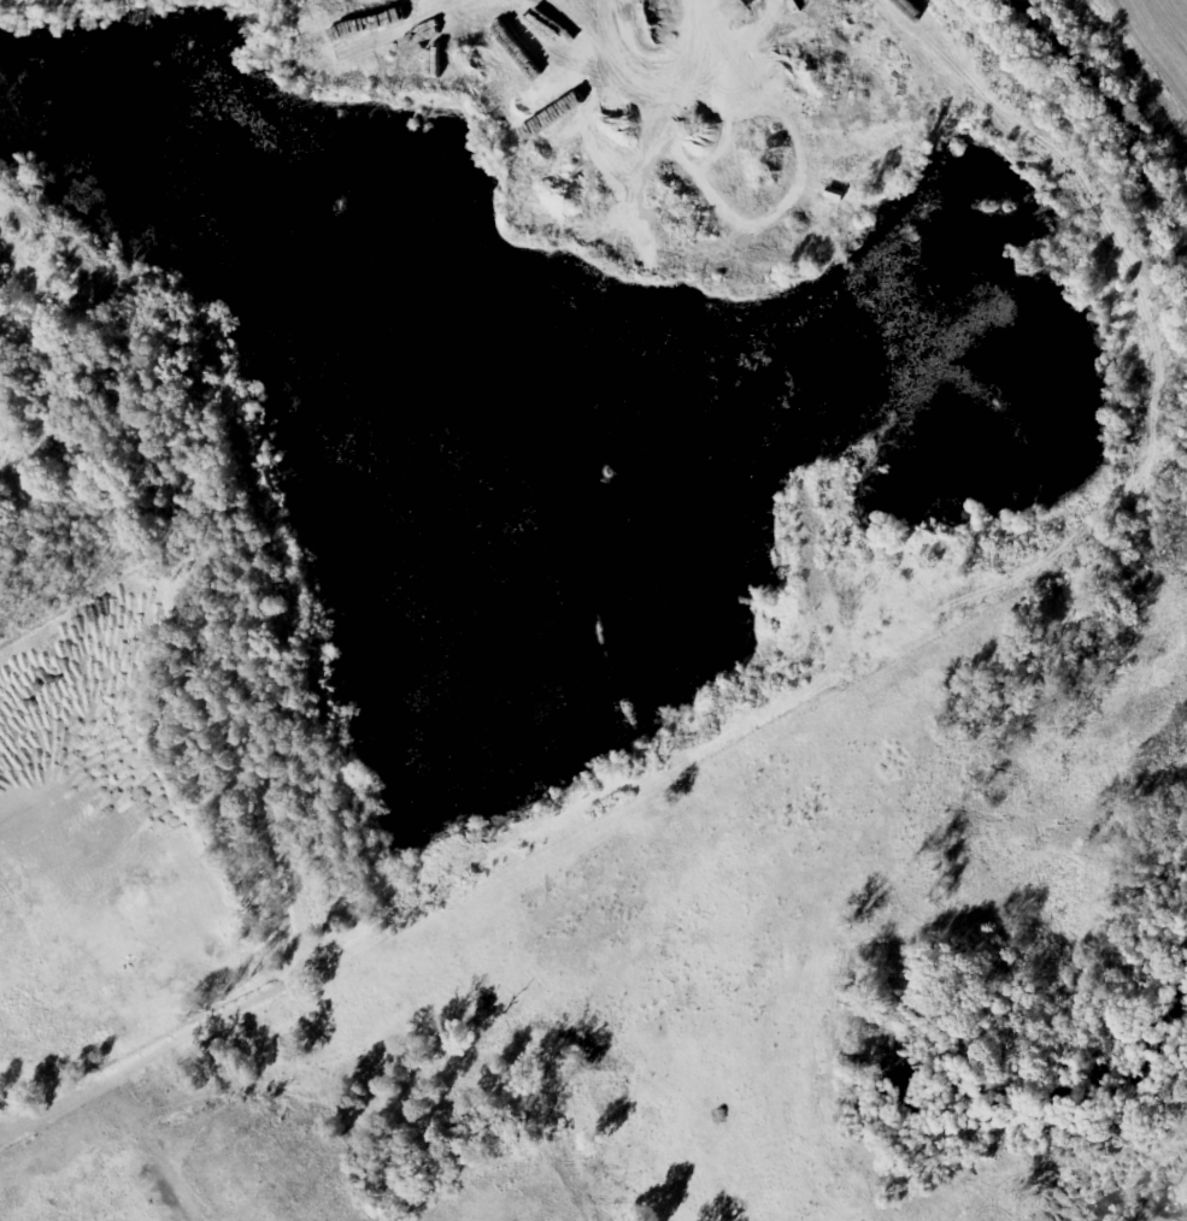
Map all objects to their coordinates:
road: (440, 908)

